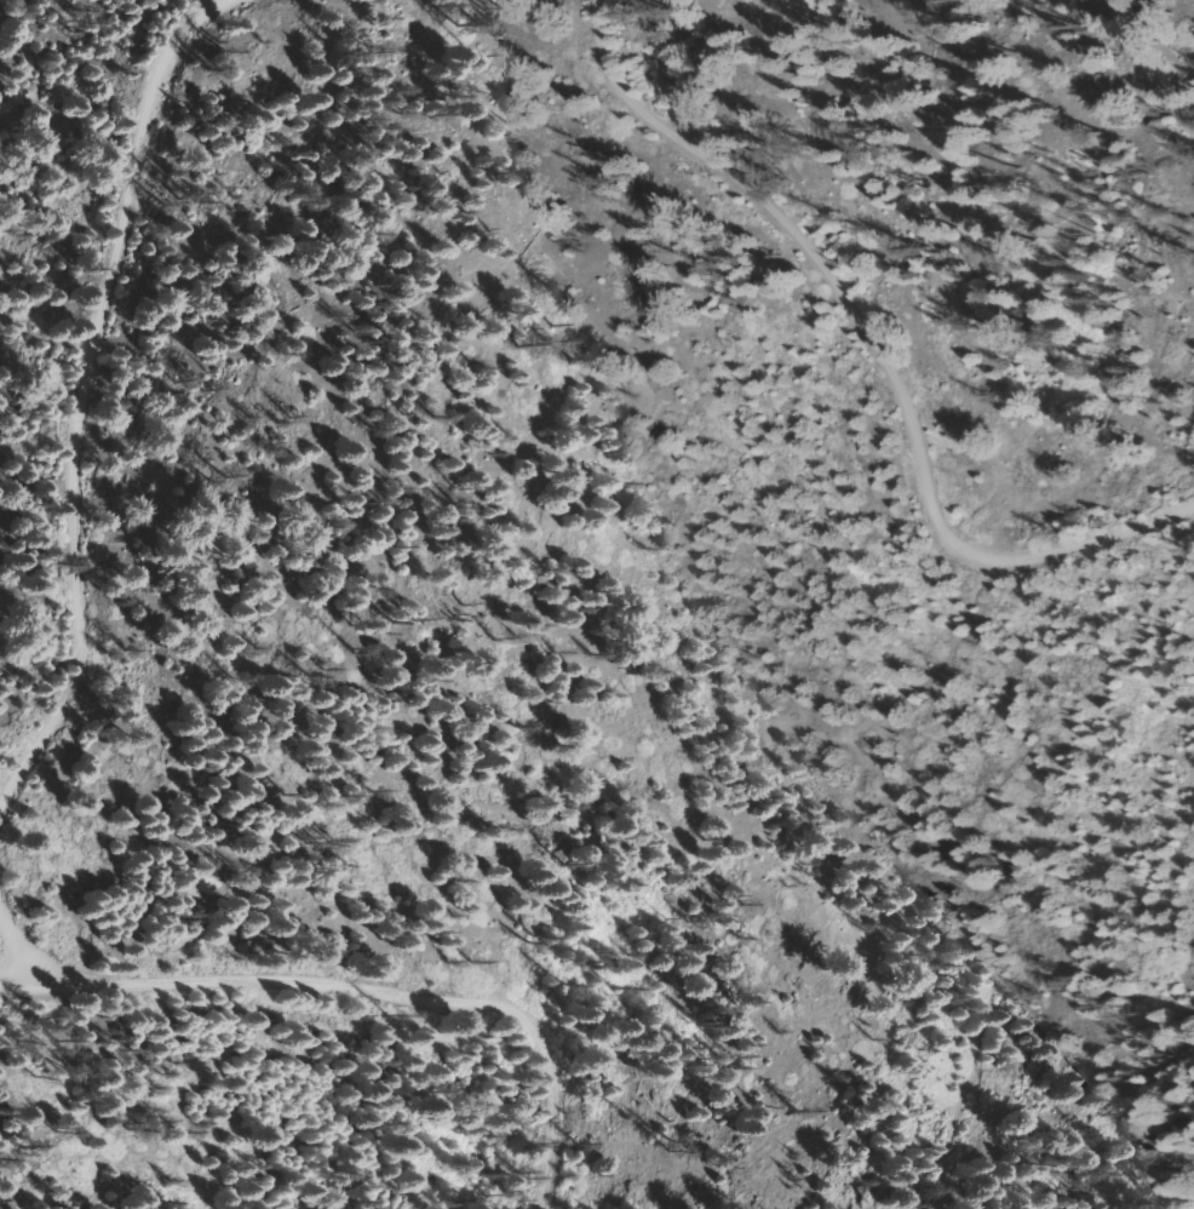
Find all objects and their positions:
road: (878, 336)
road: (81, 385)
road: (17, 951)
road: (358, 997)

